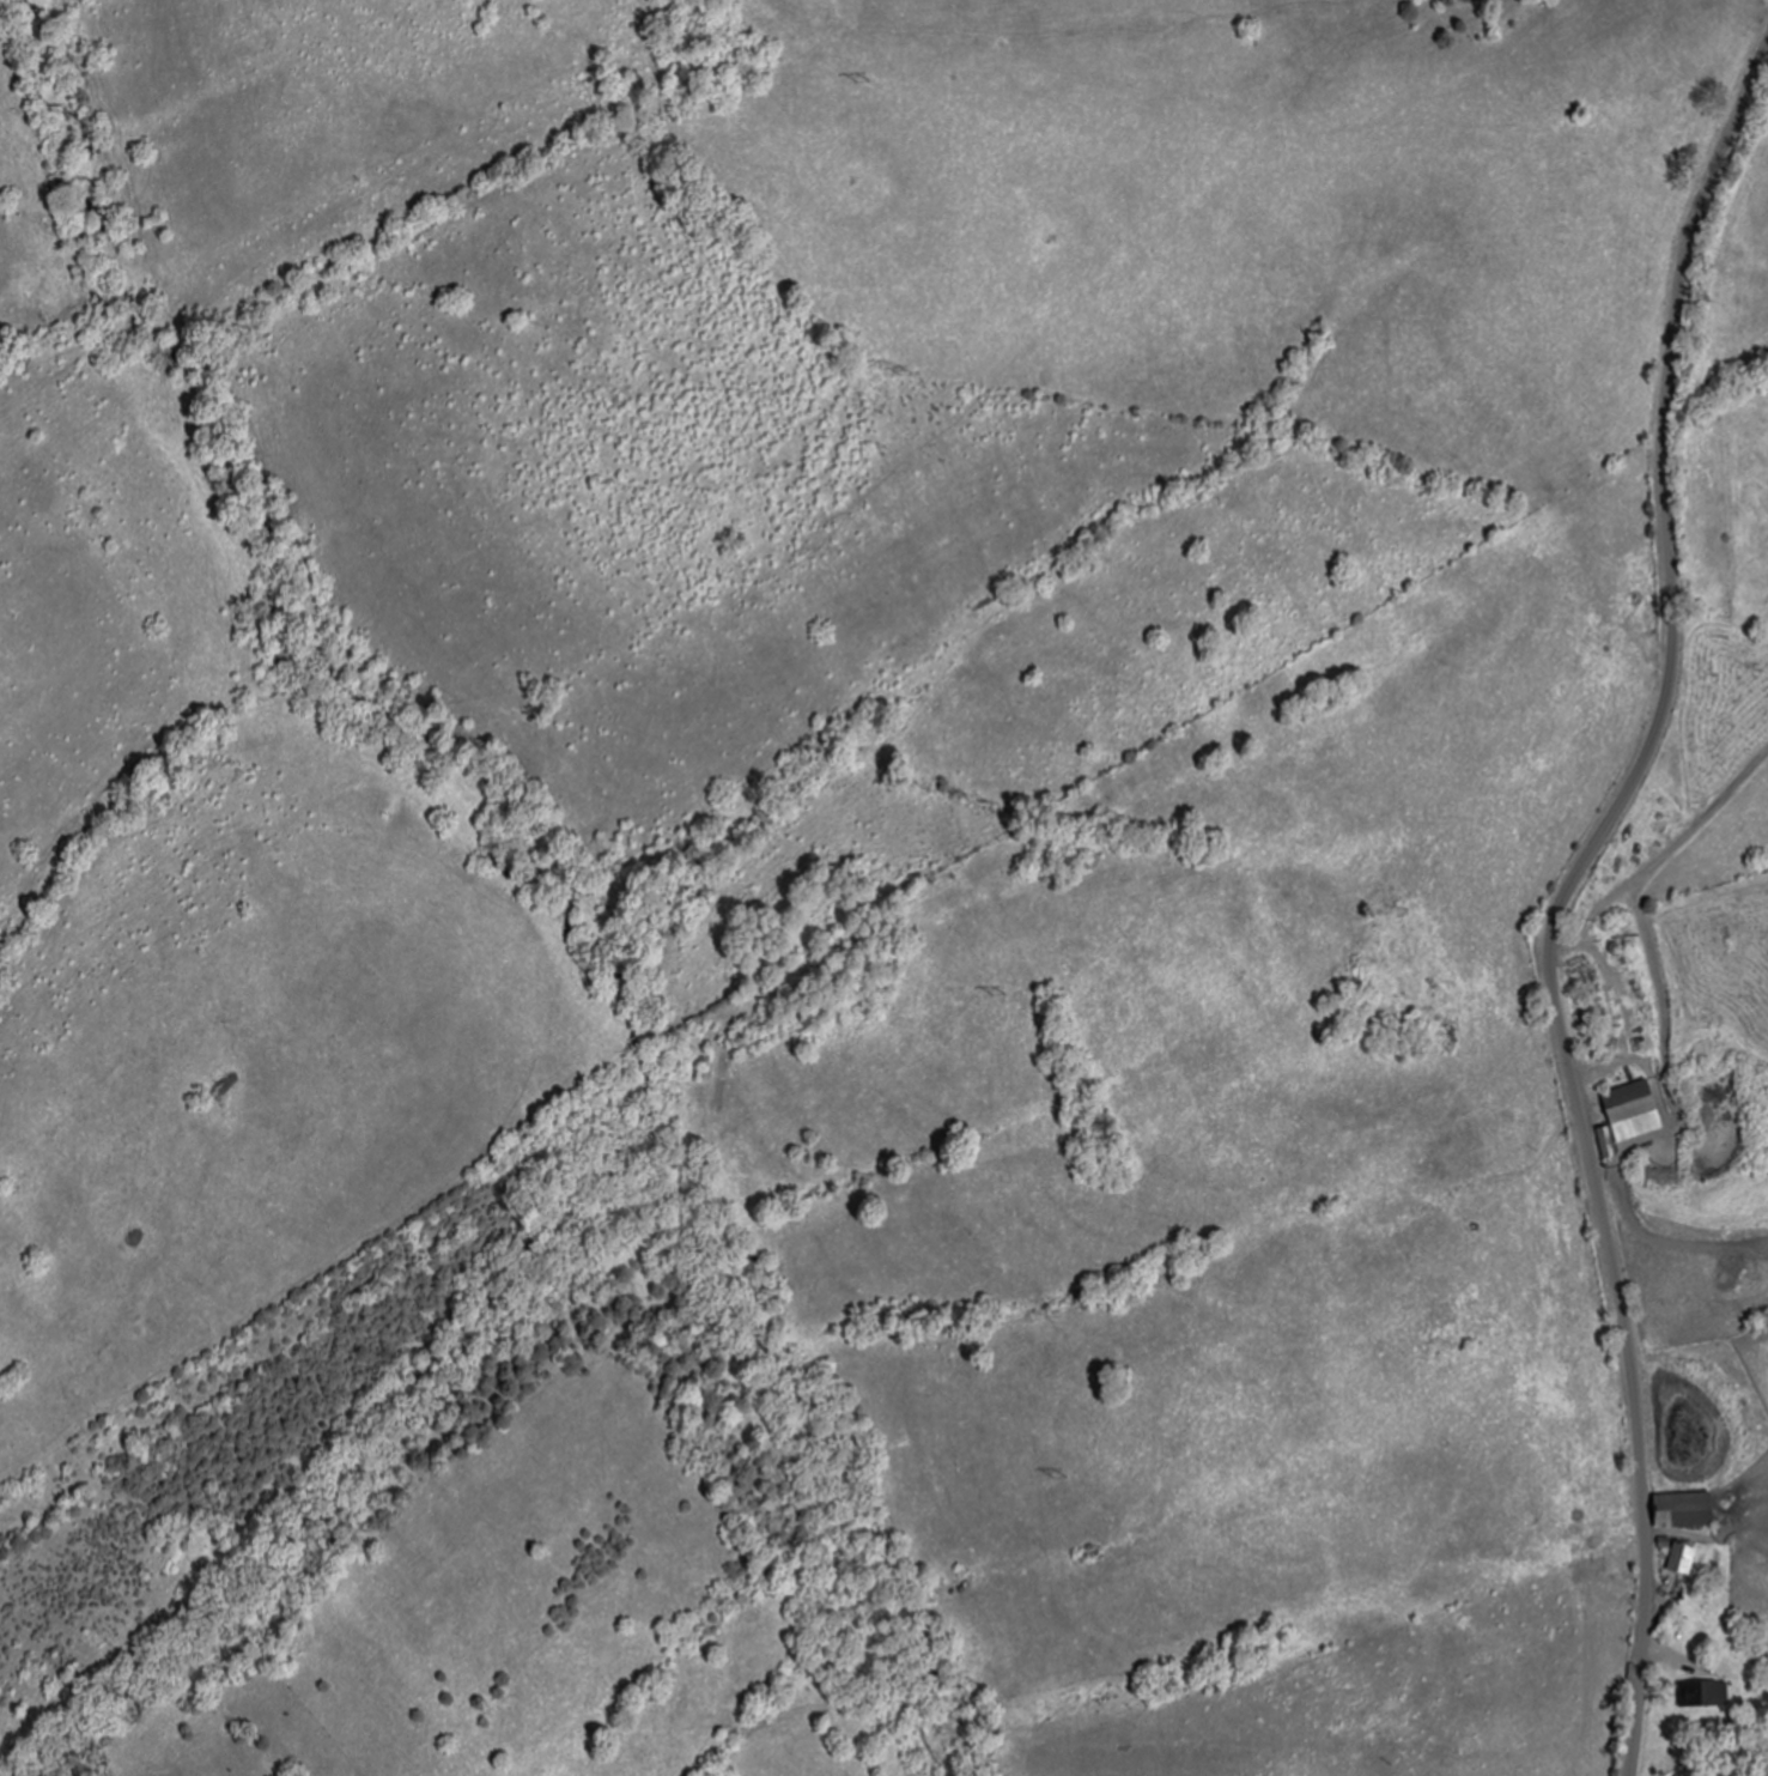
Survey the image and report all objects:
road: (1566, 893)
building: (1639, 1110)
building: (1690, 1510)
building: (1685, 1559)
building: (1709, 1693)

